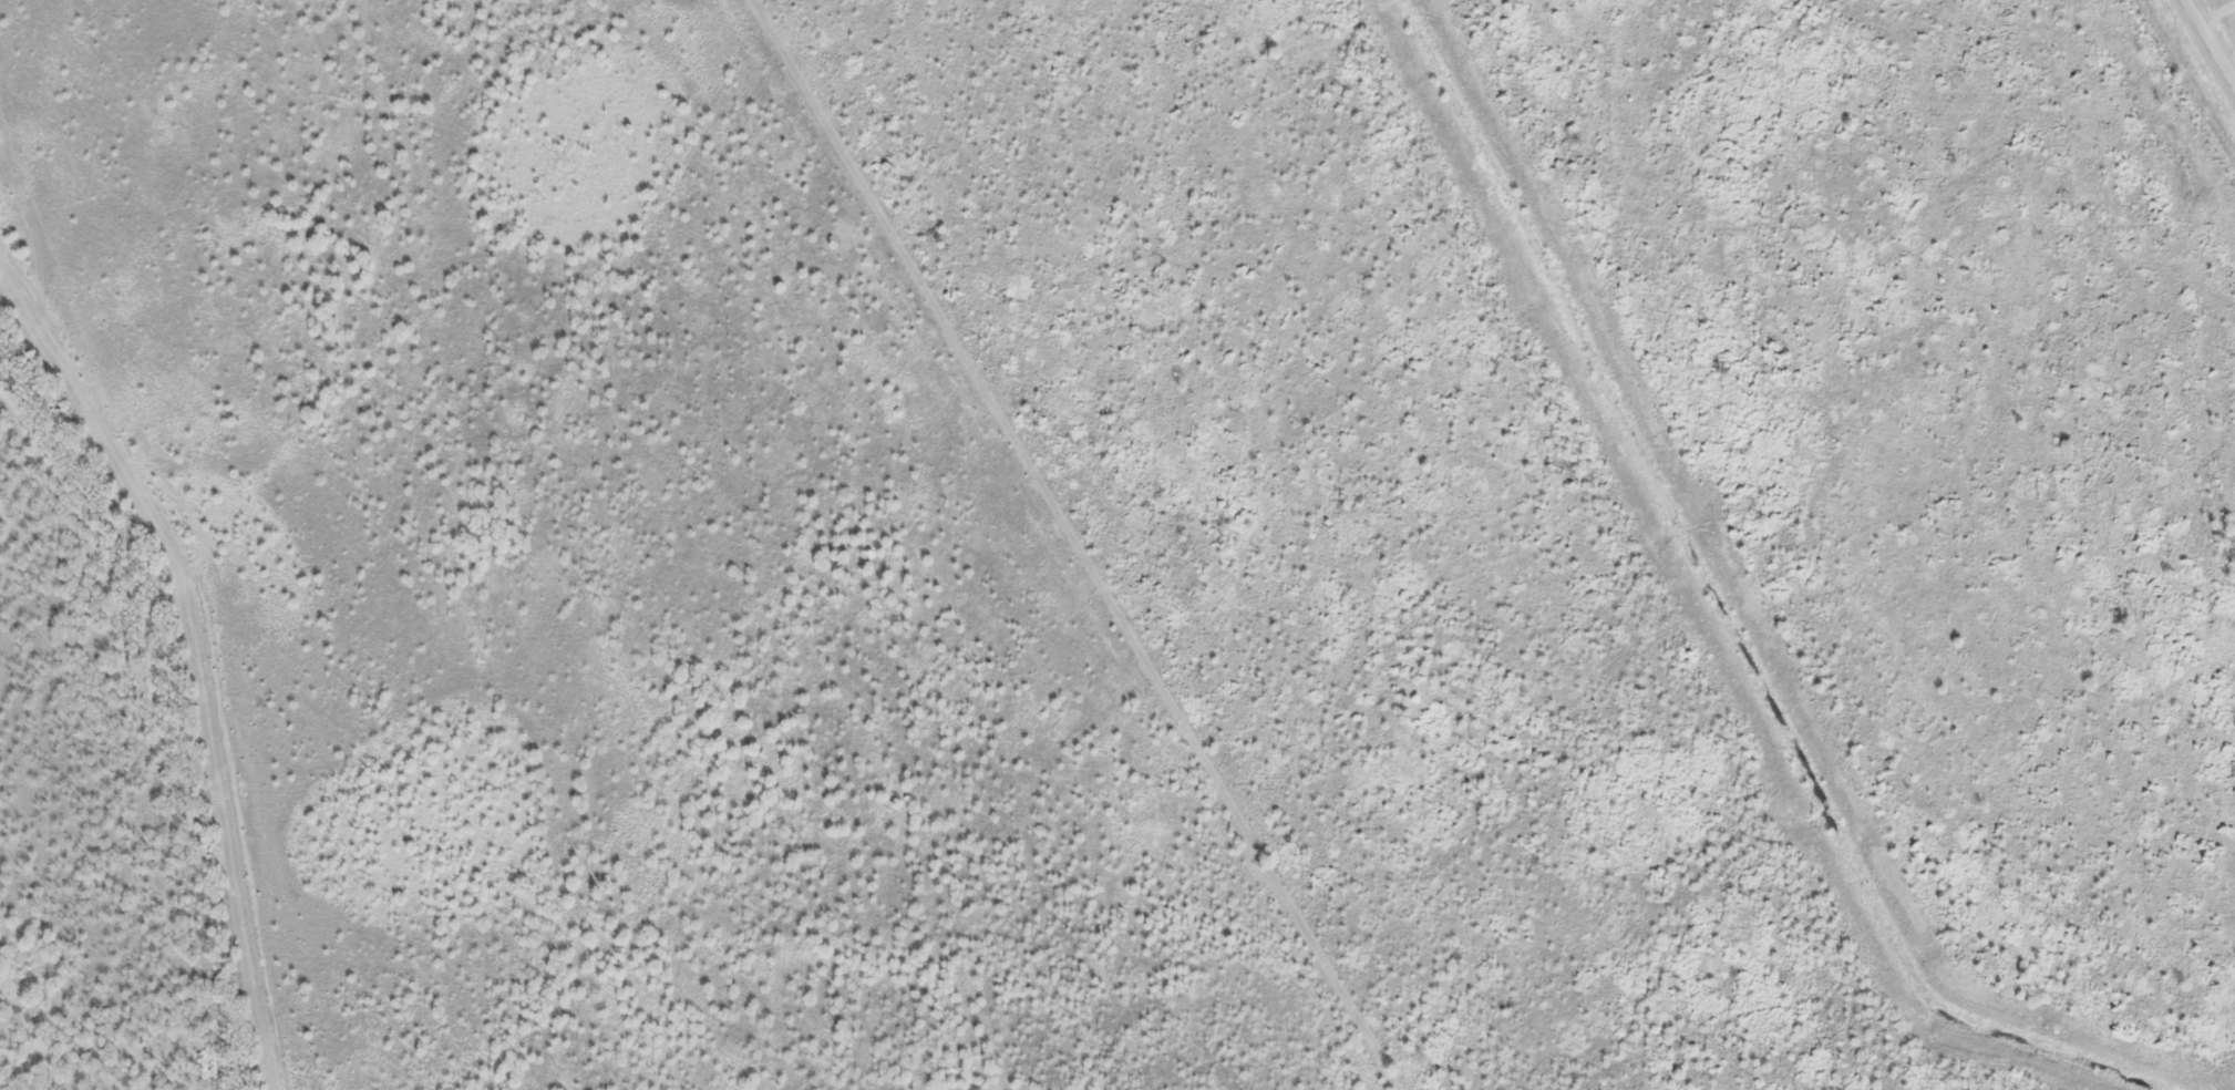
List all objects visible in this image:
road: (2211, 41)
road: (1693, 600)

